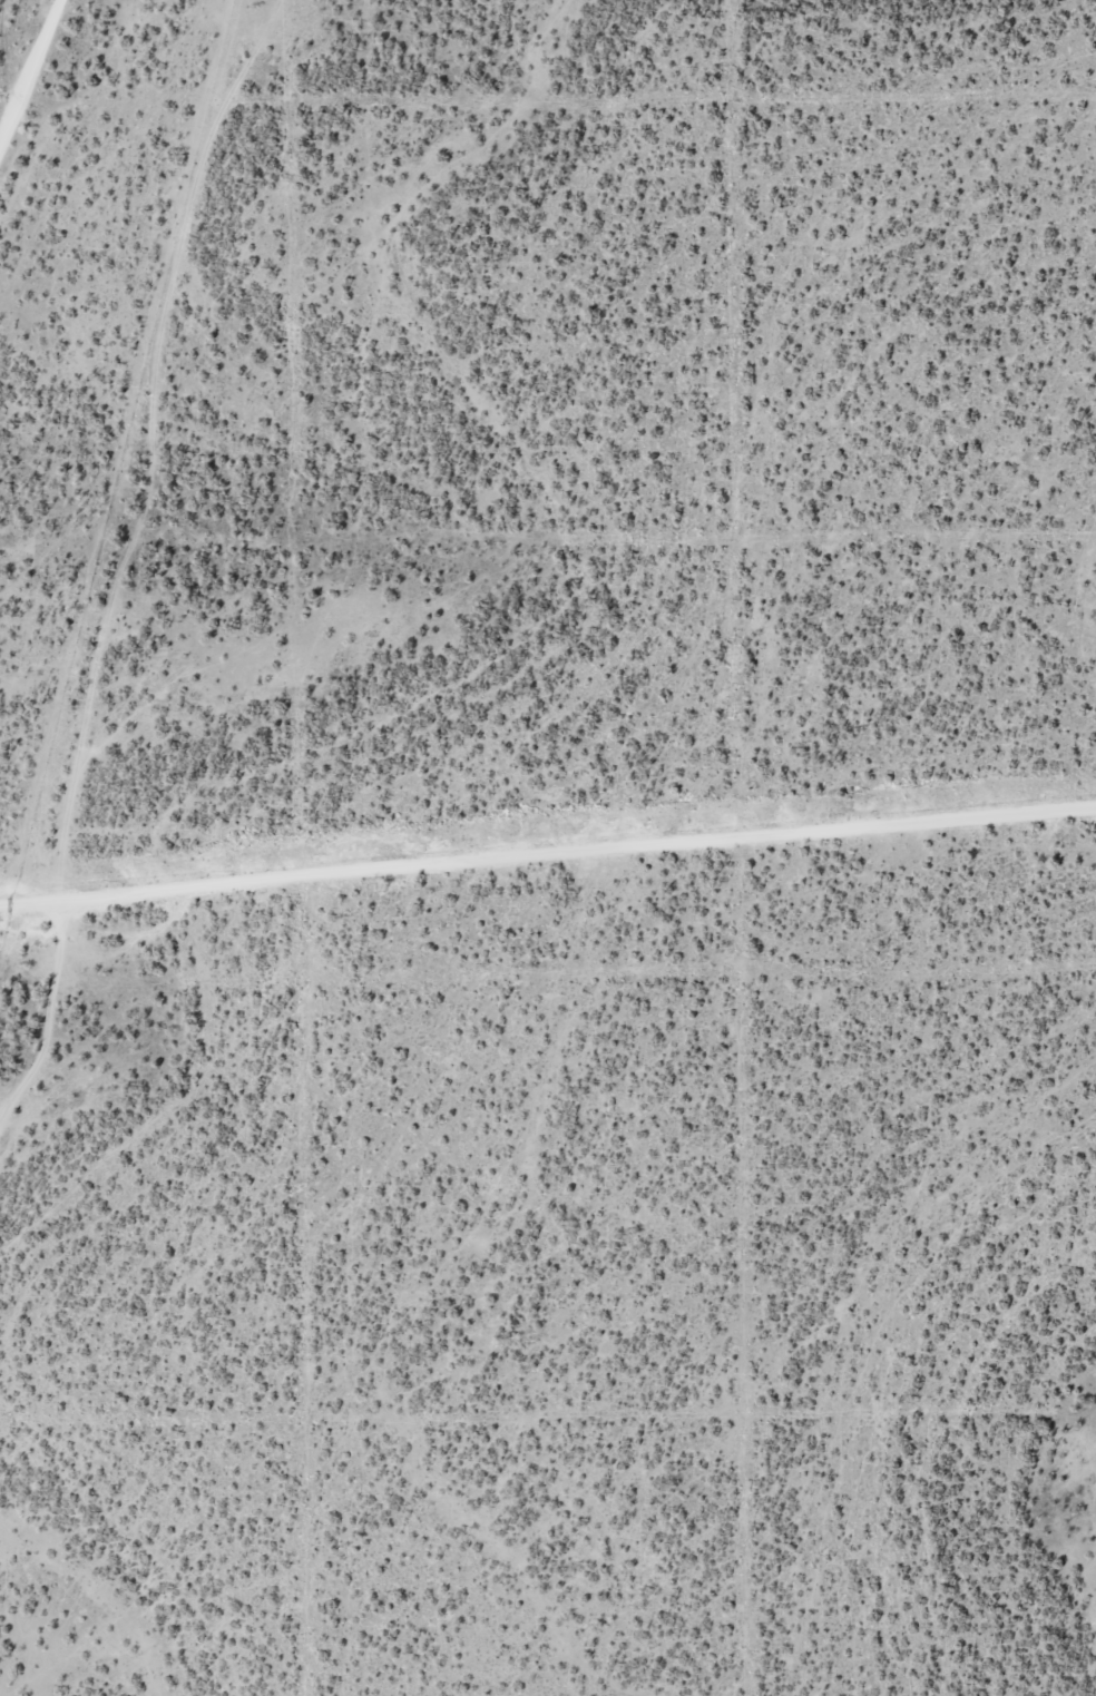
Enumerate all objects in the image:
road: (548, 874)
road: (35, 1030)

